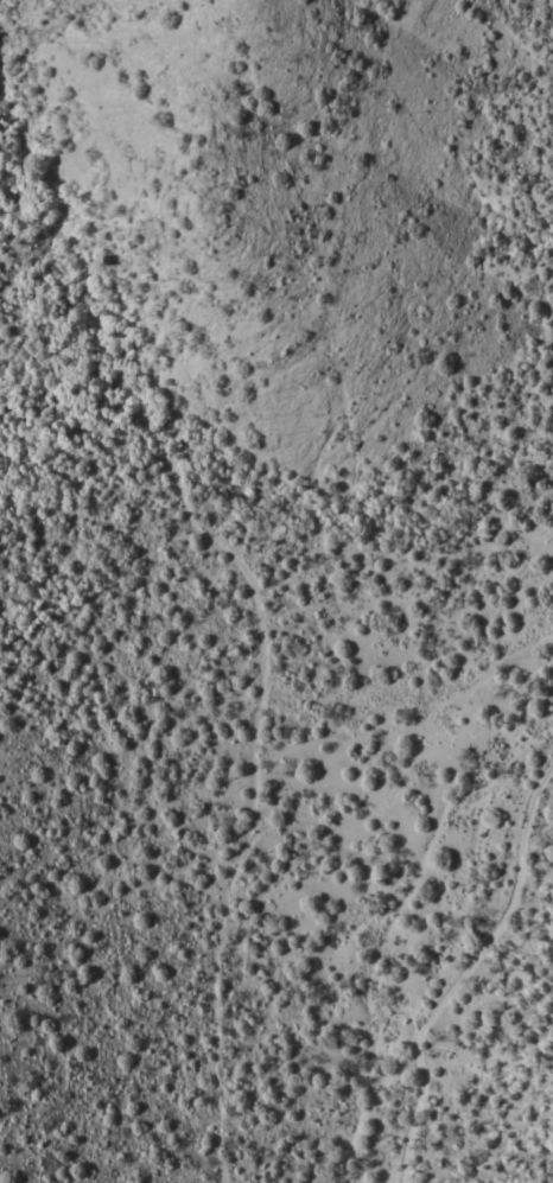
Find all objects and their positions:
road: (191, 454)
road: (483, 664)
road: (357, 787)
road: (464, 960)

